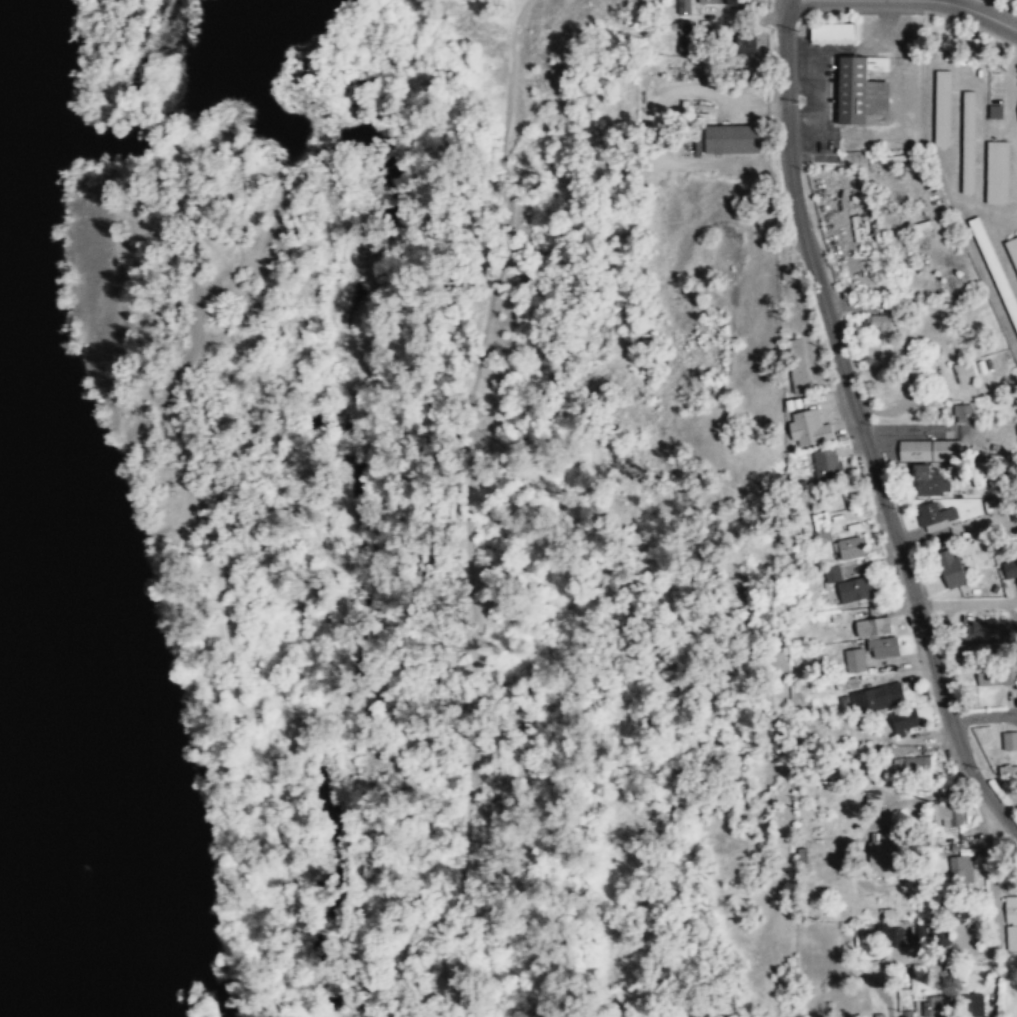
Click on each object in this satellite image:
building: (708, 1)
building: (735, 2)
road: (938, 3)
building: (684, 8)
river: (2, 13)
building: (833, 34)
building: (746, 43)
road: (509, 51)
building: (862, 91)
building: (942, 108)
building: (994, 111)
building: (732, 139)
road: (1011, 141)
building: (968, 142)
building: (997, 172)
building: (1013, 248)
building: (878, 323)
building: (797, 366)
building: (915, 367)
building: (964, 372)
building: (962, 413)
building: (809, 429)
road: (862, 430)
building: (929, 451)
building: (826, 465)
building: (928, 482)
building: (935, 517)
building: (822, 527)
building: (849, 548)
building: (950, 568)
building: (1011, 568)
building: (838, 573)
building: (855, 589)
building: (873, 626)
building: (987, 631)
building: (883, 647)
building: (855, 661)
building: (997, 674)
building: (877, 698)
road: (983, 715)
building: (905, 721)
building: (1009, 741)
building: (913, 766)
building: (1008, 771)
building: (873, 799)
building: (949, 815)
river: (28, 849)
building: (881, 854)
building: (960, 870)
building: (955, 912)
road: (992, 924)
building: (1011, 925)
building: (939, 937)
building: (893, 939)
building: (901, 980)
building: (973, 1006)
building: (931, 1008)

